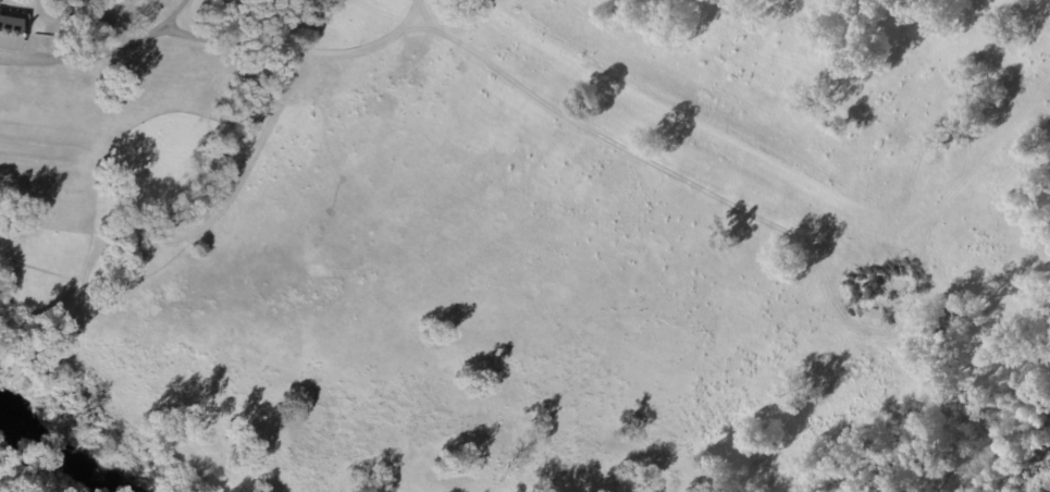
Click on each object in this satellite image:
building: (72, 3)
building: (11, 29)
road: (231, 41)
road: (370, 46)
road: (102, 53)
river: (62, 453)

